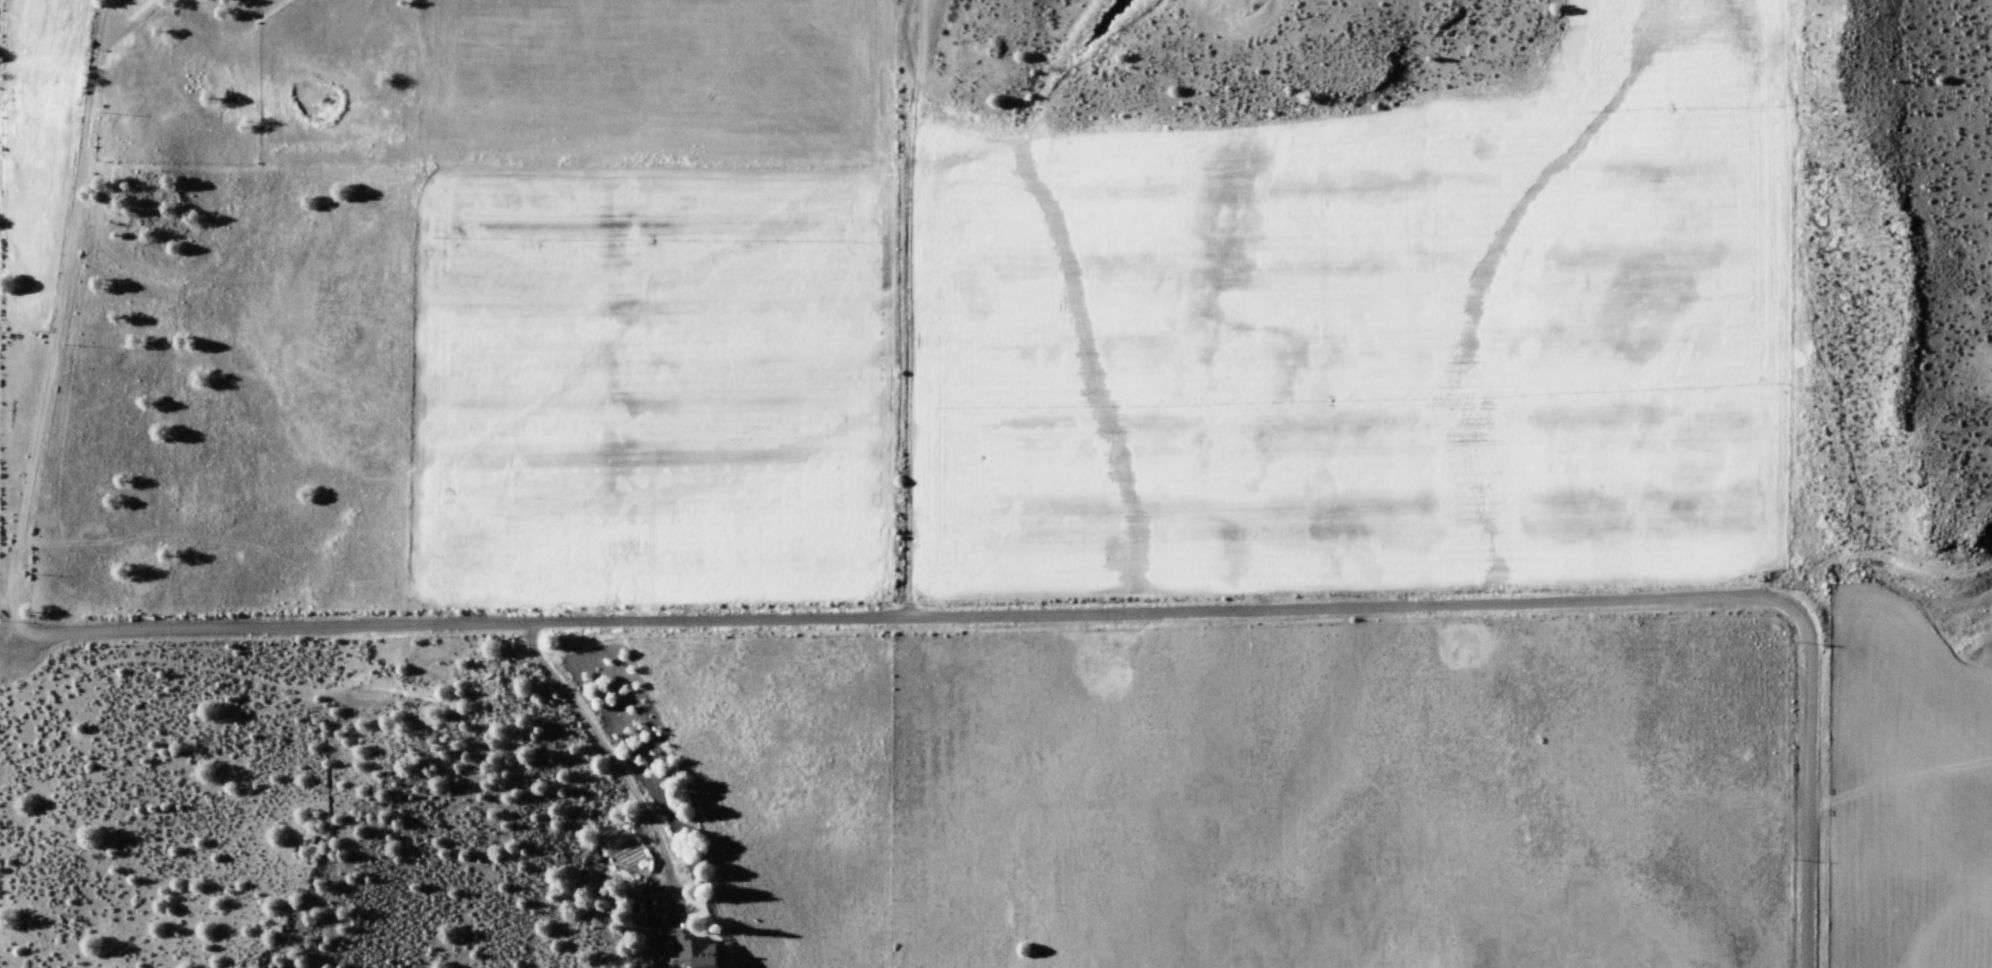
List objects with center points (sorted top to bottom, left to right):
road: (908, 320)
road: (1558, 609)
building: (696, 953)

